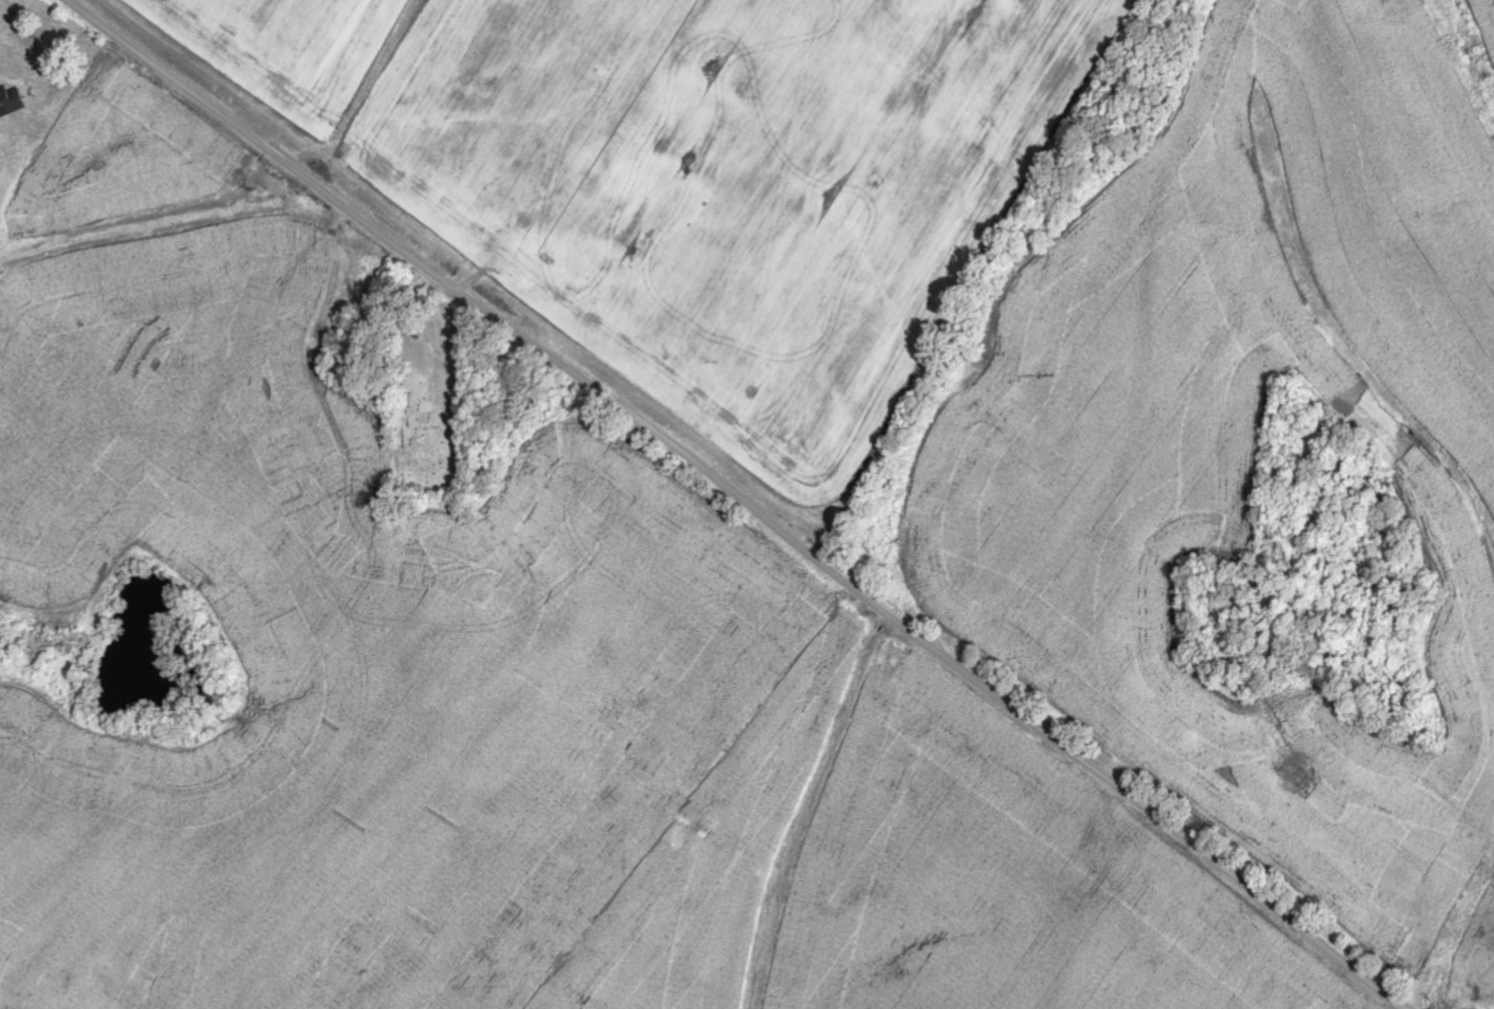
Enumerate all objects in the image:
building: (11, 101)
park: (441, 406)
road: (740, 501)

